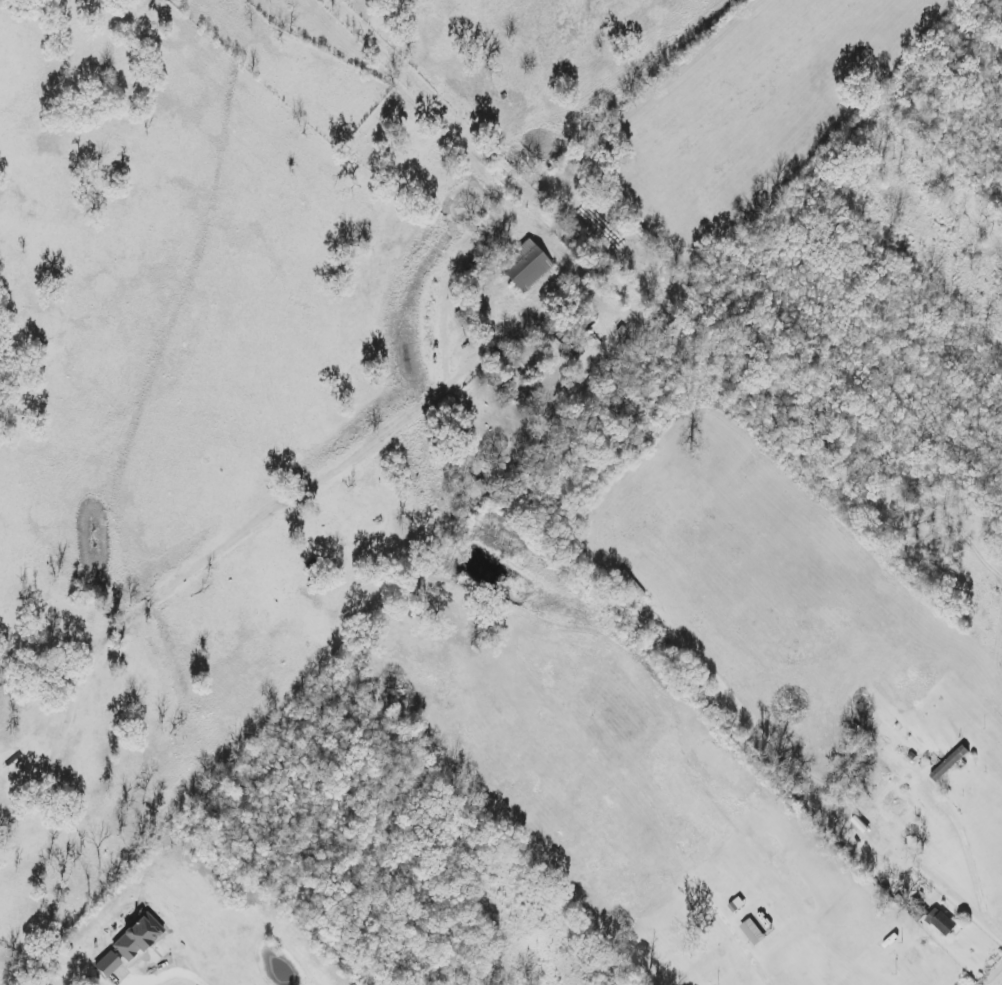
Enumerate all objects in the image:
building: (526, 270)
building: (948, 766)
building: (893, 805)
road: (971, 858)
building: (940, 924)
building: (756, 929)
building: (125, 947)
road: (190, 977)

